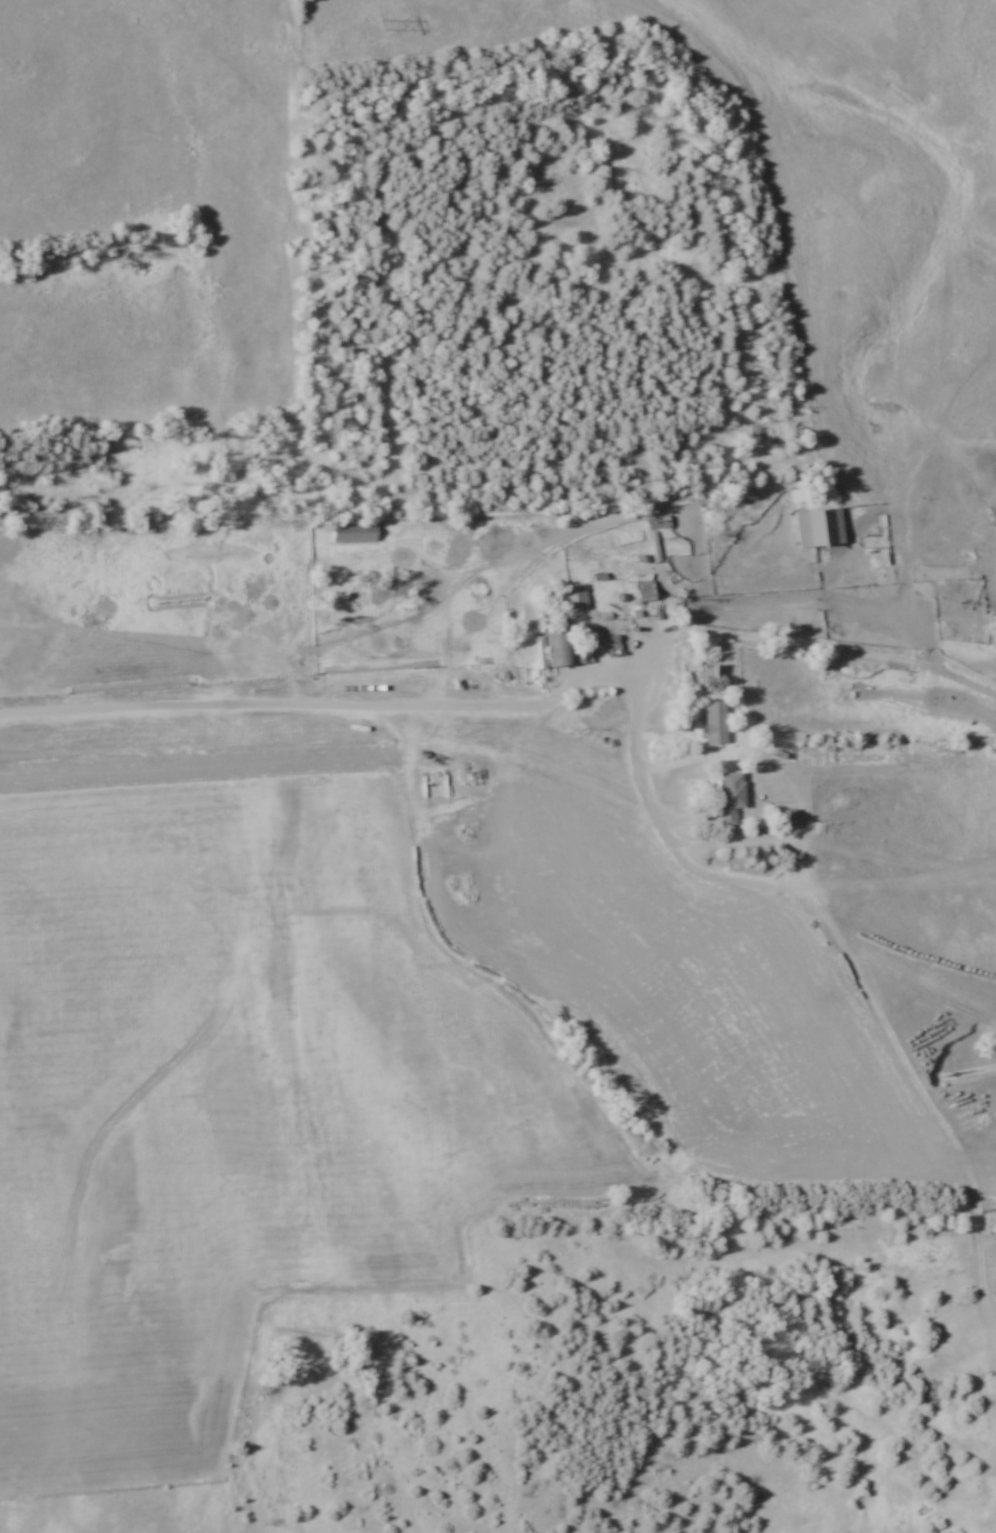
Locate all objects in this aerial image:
power tower: (370, 27)
building: (383, 441)
building: (659, 524)
building: (820, 530)
building: (576, 597)
building: (559, 647)
building: (715, 677)
road: (509, 700)
building: (717, 724)
road: (642, 758)
building: (732, 799)
building: (789, 820)

